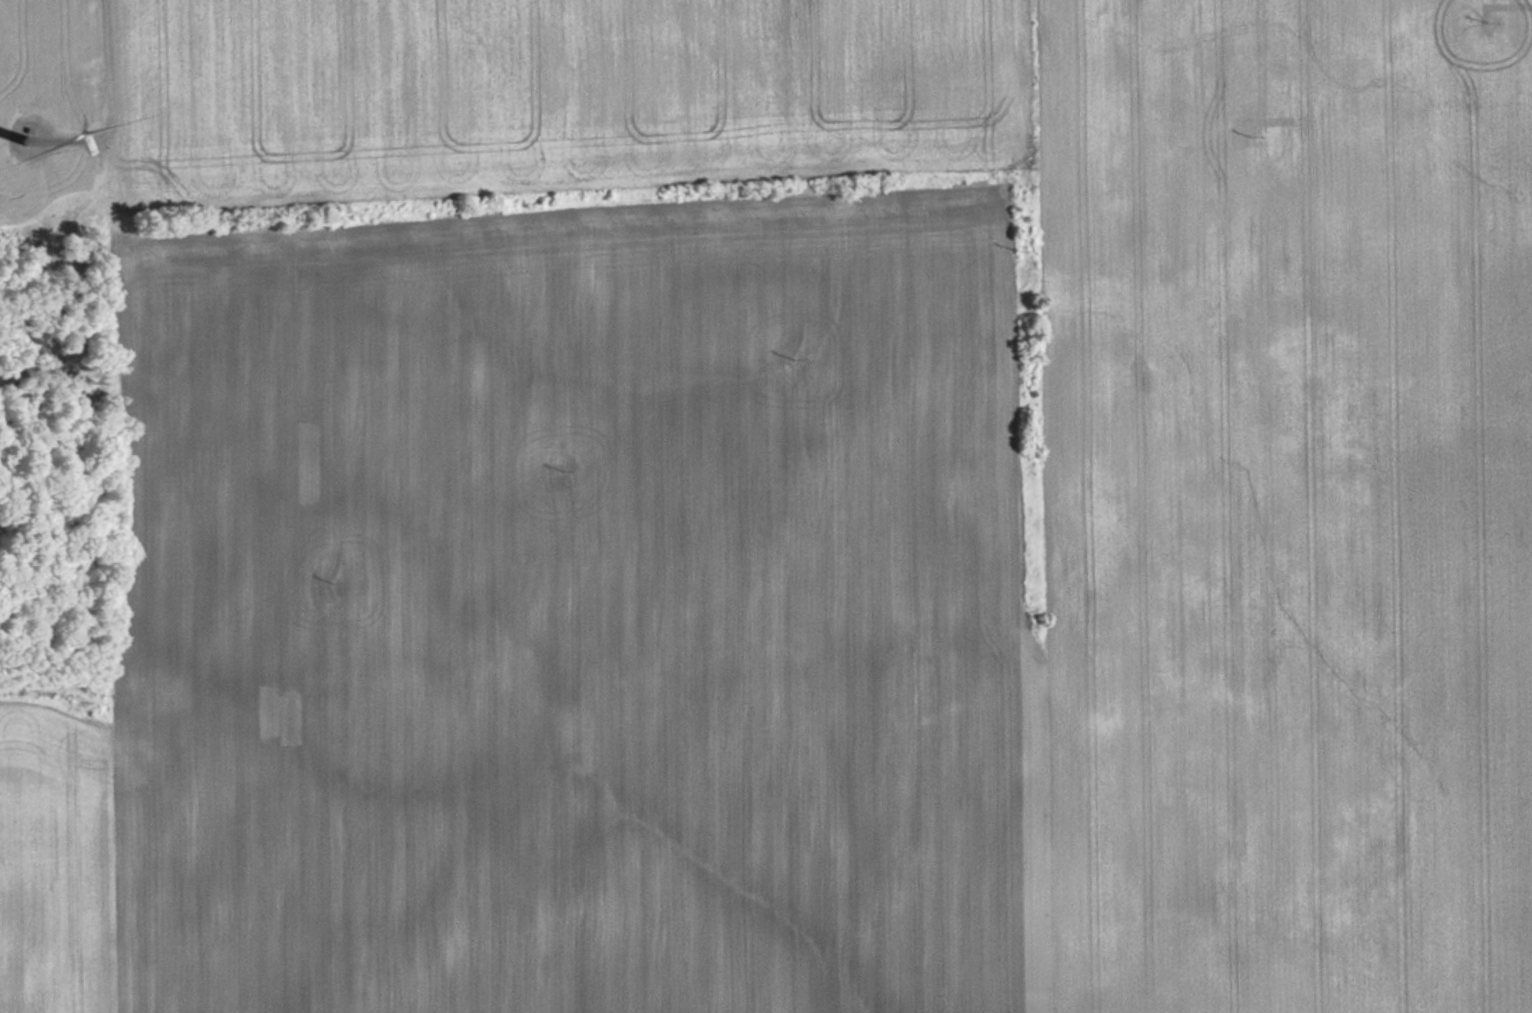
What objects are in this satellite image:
road: (90, 72)
wind turbine: (27, 145)

